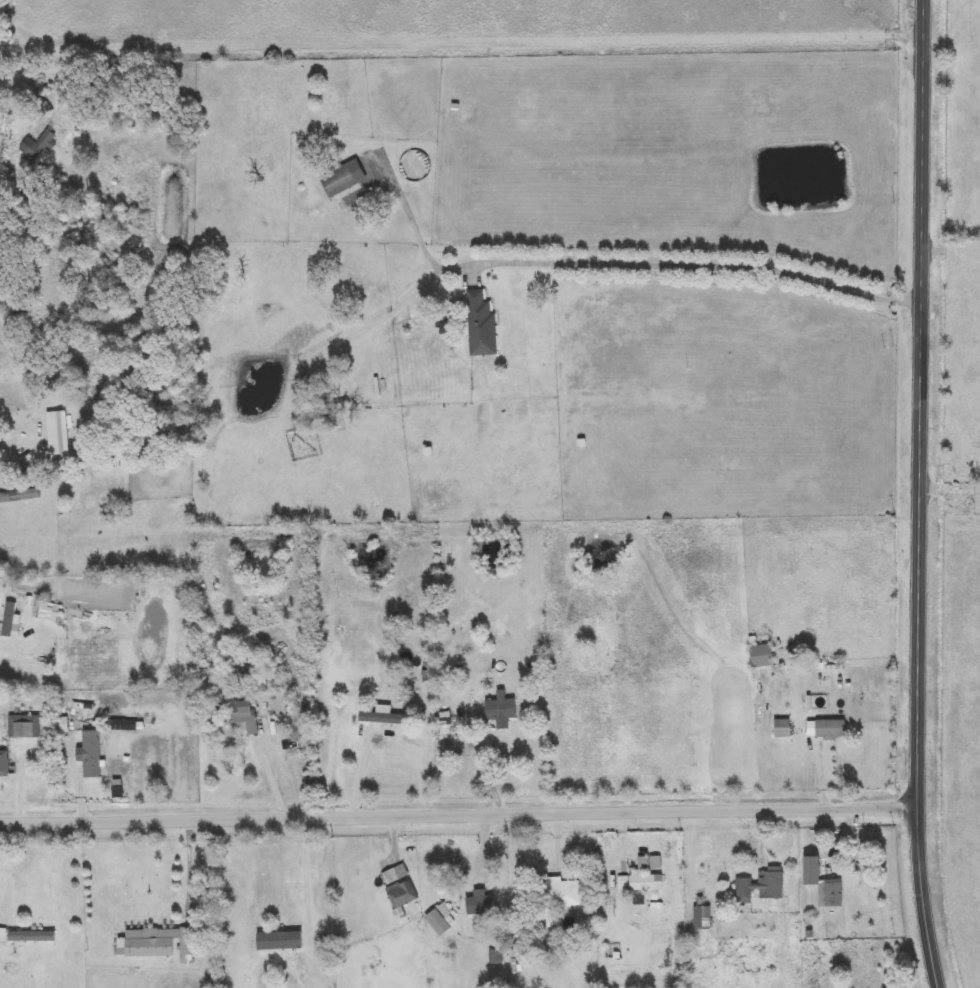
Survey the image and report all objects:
building: (37, 146)
building: (344, 178)
road: (630, 264)
road: (387, 318)
building: (481, 325)
road: (16, 376)
building: (310, 417)
building: (60, 421)
road: (919, 494)
building: (9, 619)
road: (3, 643)
building: (761, 654)
building: (501, 708)
building: (392, 711)
building: (243, 715)
building: (24, 726)
building: (825, 730)
building: (92, 754)
road: (484, 758)
building: (4, 764)
road: (828, 774)
road: (276, 782)
road: (363, 782)
road: (458, 815)
road: (626, 839)
road: (193, 868)
building: (395, 874)
road: (310, 880)
building: (642, 881)
building: (619, 883)
building: (823, 884)
building: (760, 885)
building: (454, 893)
building: (403, 894)
building: (702, 913)
building: (32, 936)
building: (158, 943)
building: (279, 947)
building: (495, 958)

